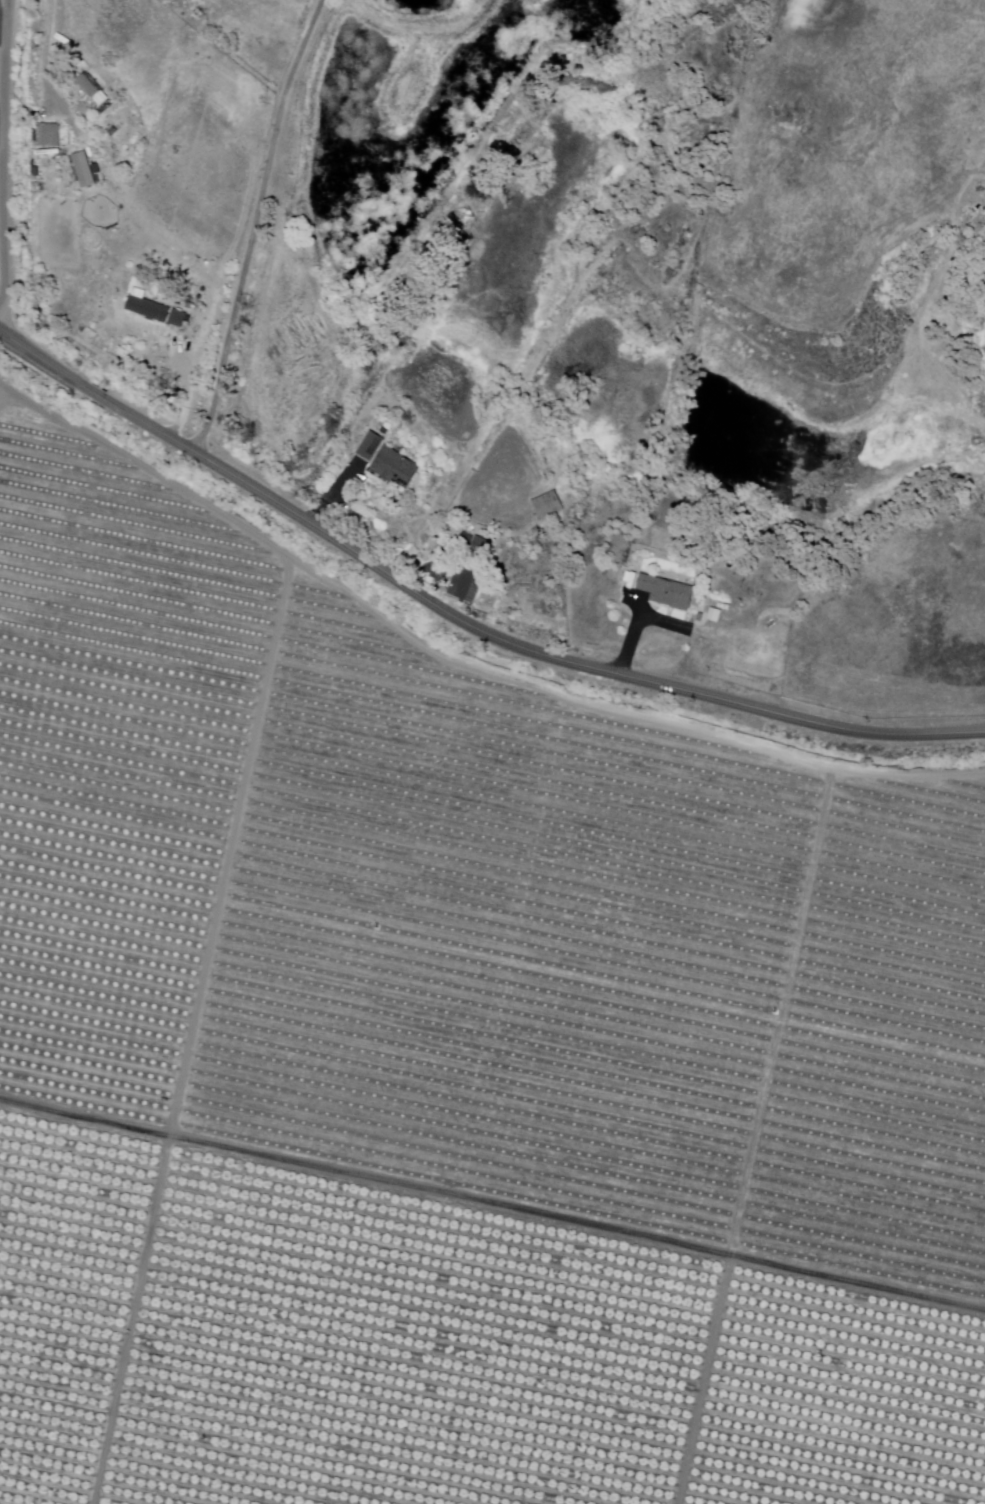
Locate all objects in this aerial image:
road: (45, 52)
building: (86, 86)
building: (46, 136)
road: (3, 167)
building: (83, 171)
road: (254, 223)
building: (984, 275)
building: (147, 310)
building: (176, 319)
building: (369, 448)
building: (395, 468)
road: (326, 502)
building: (547, 506)
building: (479, 547)
building: (461, 584)
building: (666, 592)
building: (714, 615)
building: (697, 617)
road: (458, 622)
crop: (397, 730)
road: (768, 746)
crop: (112, 762)
road: (384, 828)
road: (226, 890)
crop: (369, 908)
crop: (645, 979)
road: (350, 988)
crop: (886, 1050)
crop: (334, 1076)
road: (457, 1170)
road: (718, 1254)

